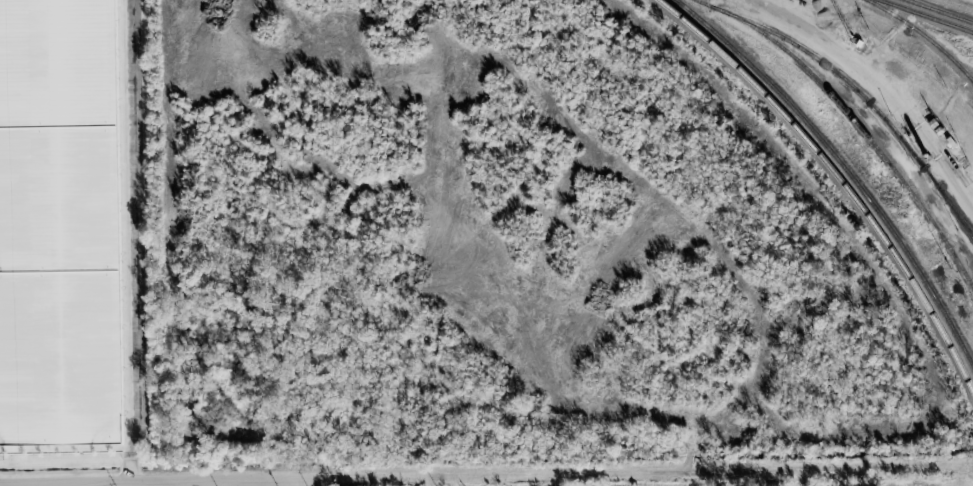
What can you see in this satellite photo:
railway: (941, 10)
railway: (927, 15)
railway: (925, 35)
road: (876, 84)
railway: (858, 91)
railway: (859, 127)
railway: (844, 167)
railway: (838, 179)
railway: (955, 208)
building: (58, 222)
road: (136, 239)
road: (640, 471)
road: (160, 477)
road: (179, 481)
road: (265, 481)
road: (32, 482)

